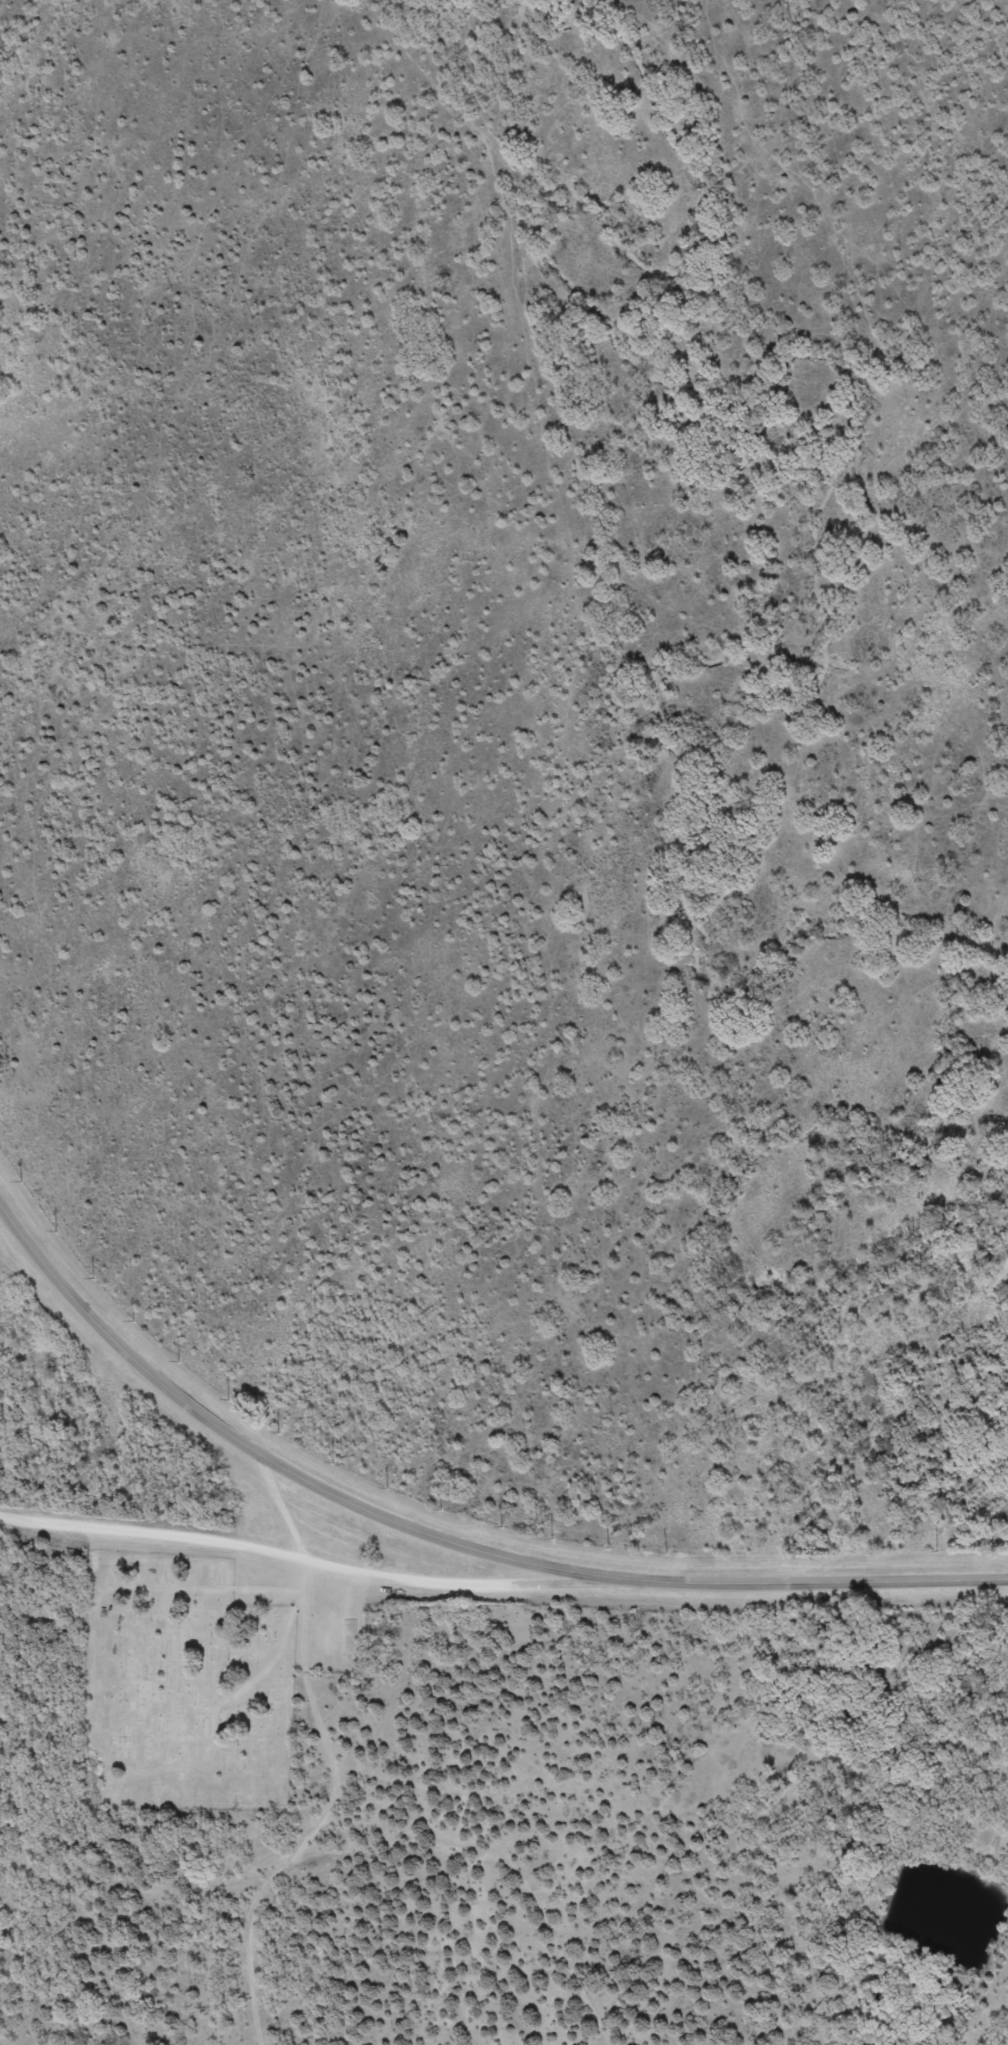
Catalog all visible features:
road: (443, 1539)
road: (329, 1562)
park: (185, 1685)

